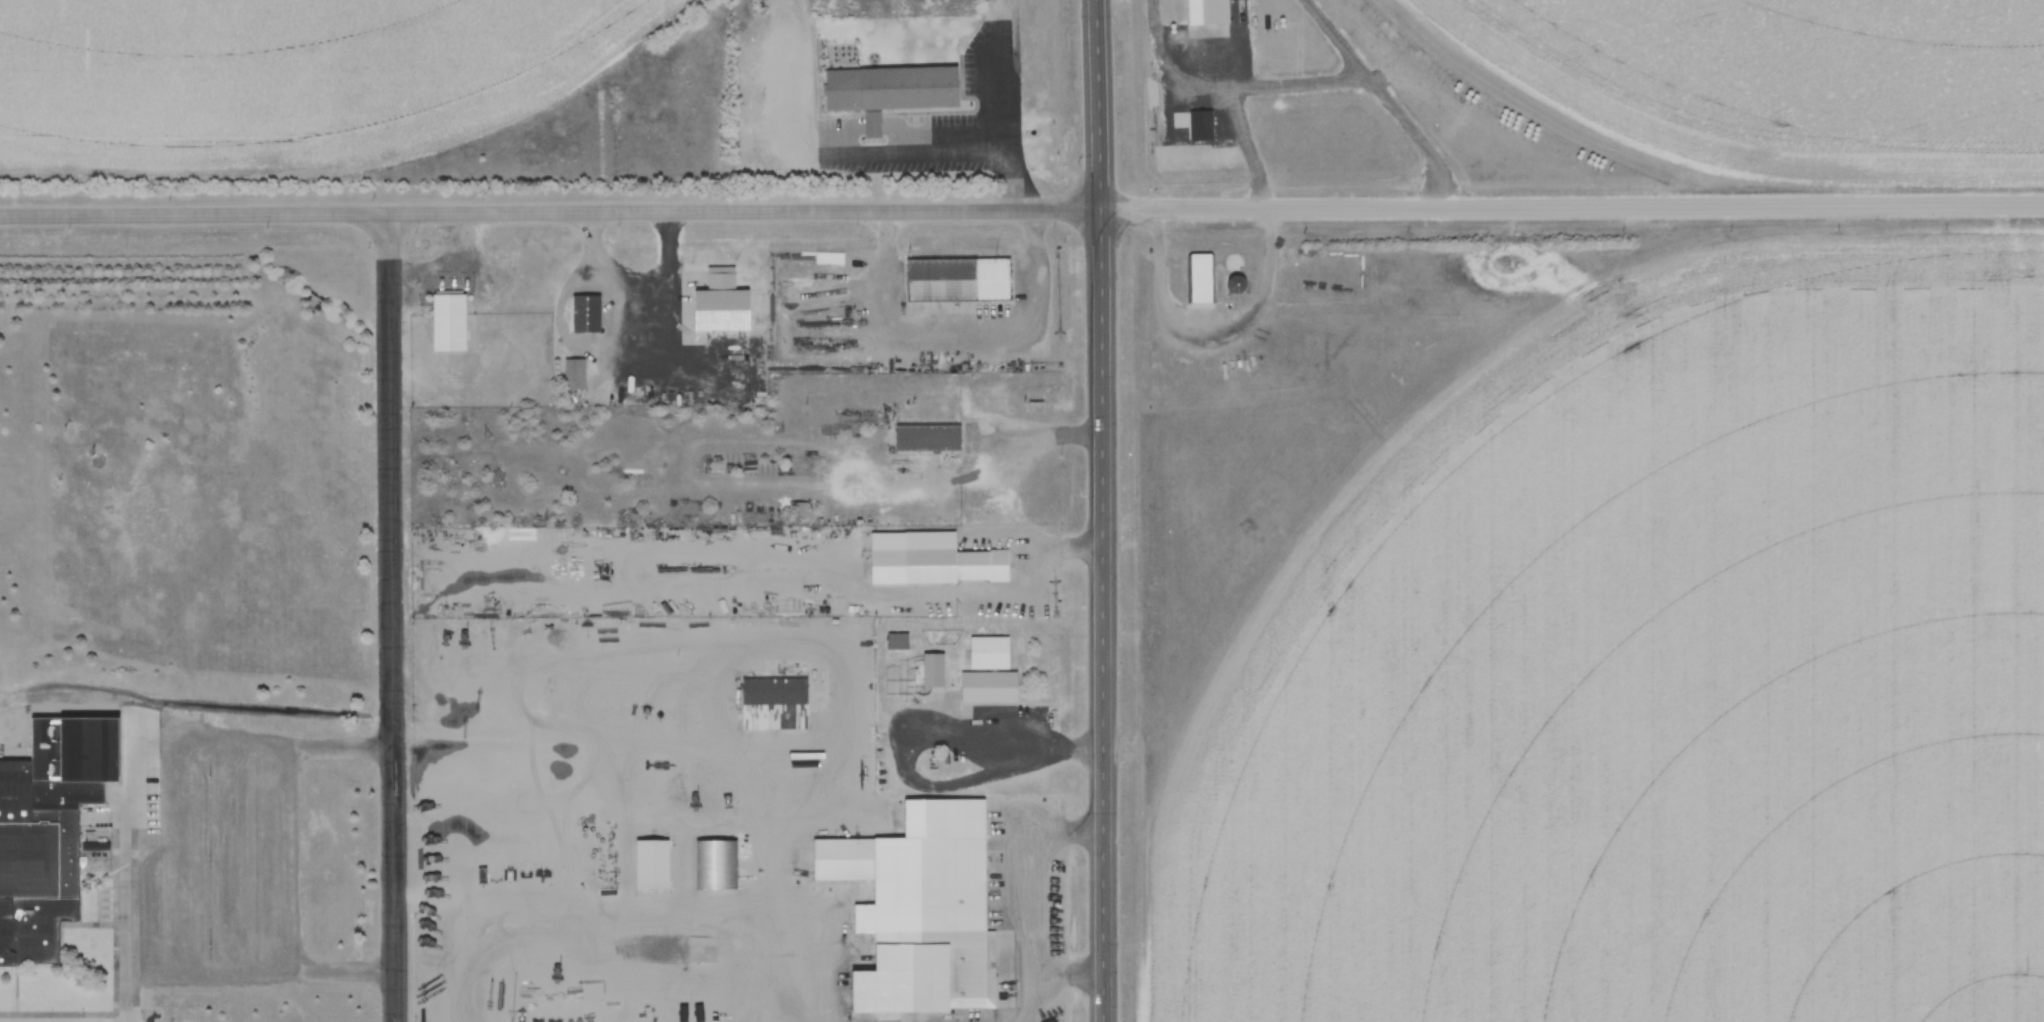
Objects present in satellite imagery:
building: (892, 89)
road: (1000, 104)
road: (1571, 207)
road: (744, 210)
road: (195, 212)
building: (1233, 263)
building: (956, 280)
building: (1201, 280)
building: (1234, 286)
building: (584, 315)
building: (447, 322)
building: (573, 375)
building: (930, 437)
building: (797, 507)
road: (1100, 510)
building: (931, 559)
road: (394, 617)
building: (896, 642)
building: (987, 653)
building: (771, 704)
road: (197, 740)
road: (209, 793)
road: (210, 837)
parking lot: (207, 860)
building: (646, 863)
building: (715, 865)
building: (916, 870)
building: (32, 872)
road: (211, 878)
road: (130, 879)
road: (292, 910)
road: (211, 924)
building: (702, 950)
road: (211, 970)

